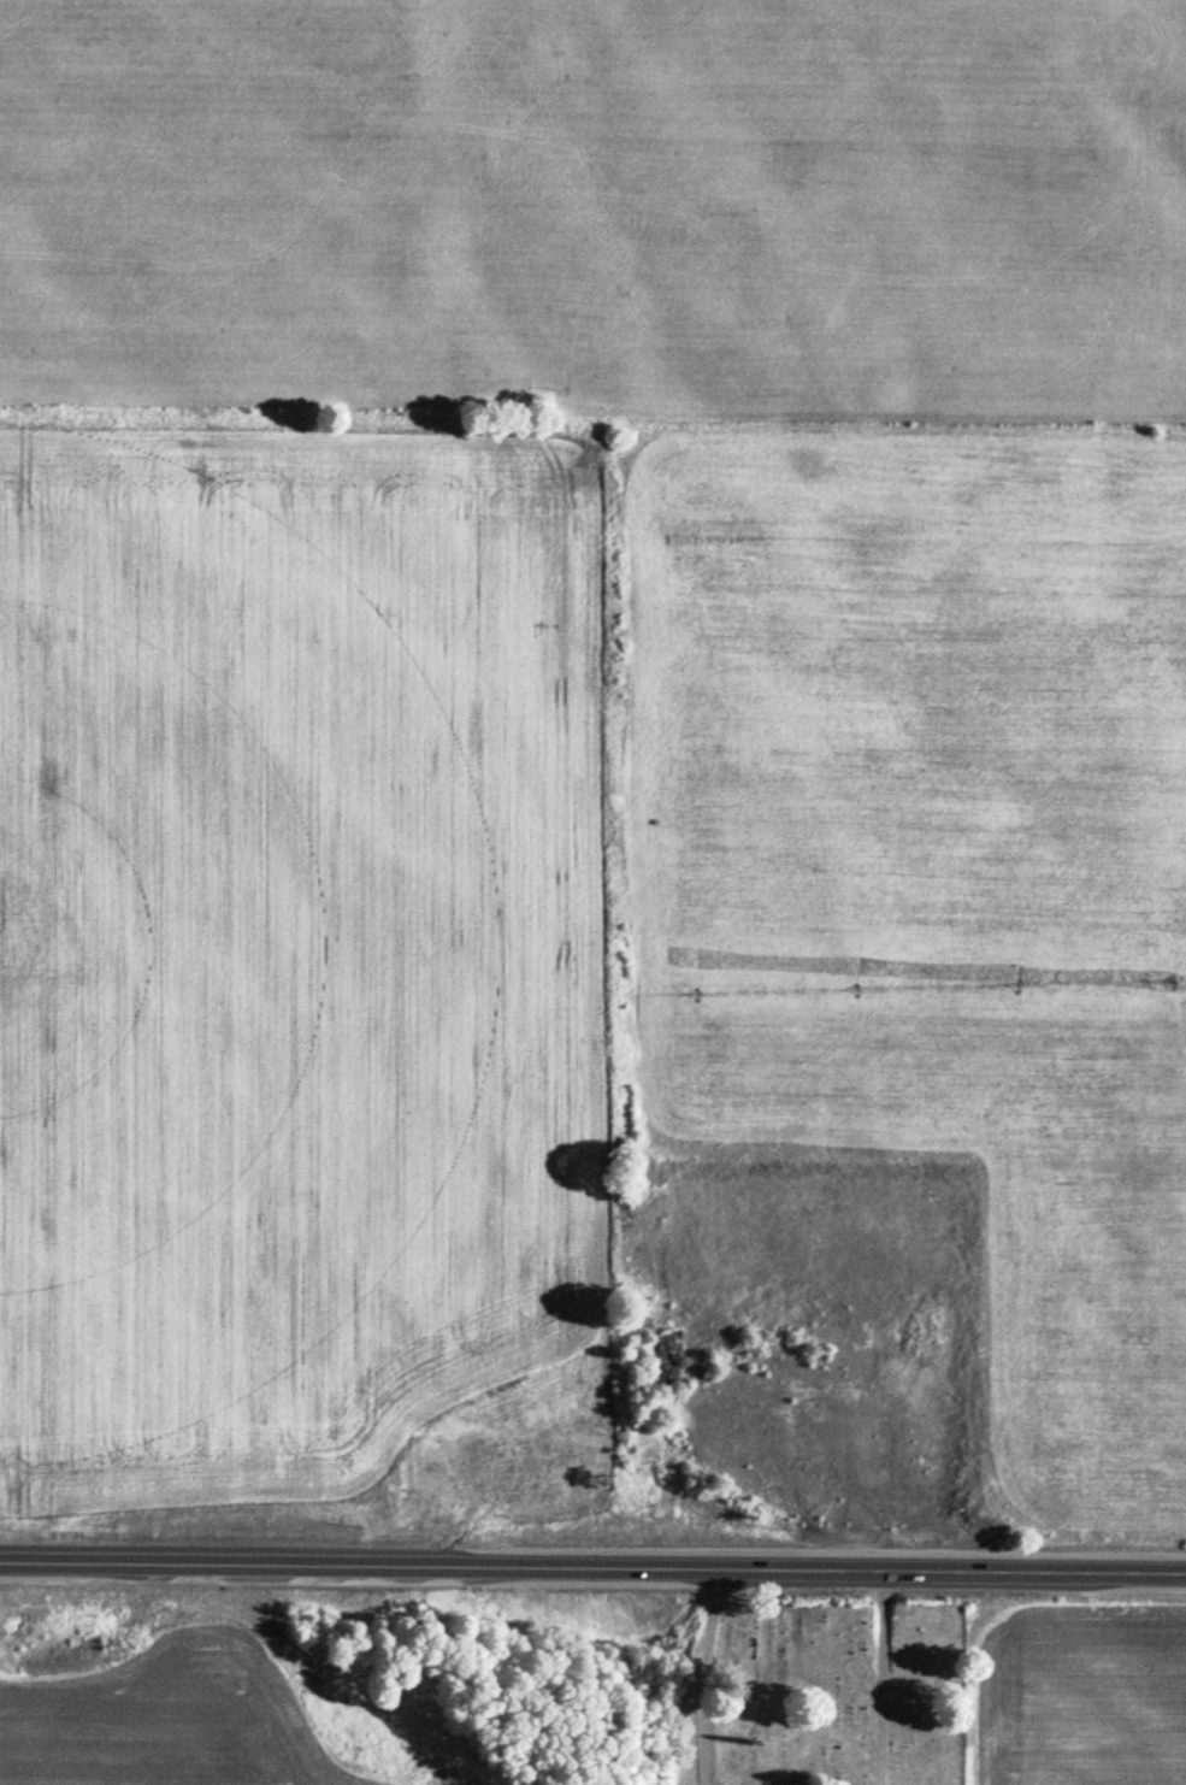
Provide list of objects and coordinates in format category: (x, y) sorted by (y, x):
road: (592, 1566)
park: (793, 1689)

